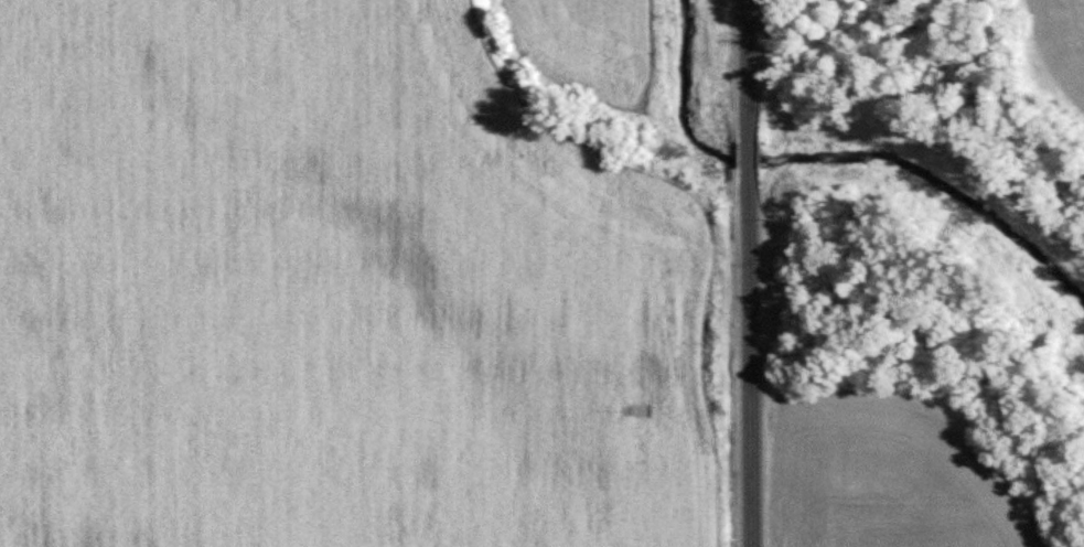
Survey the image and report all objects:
road: (748, 273)

